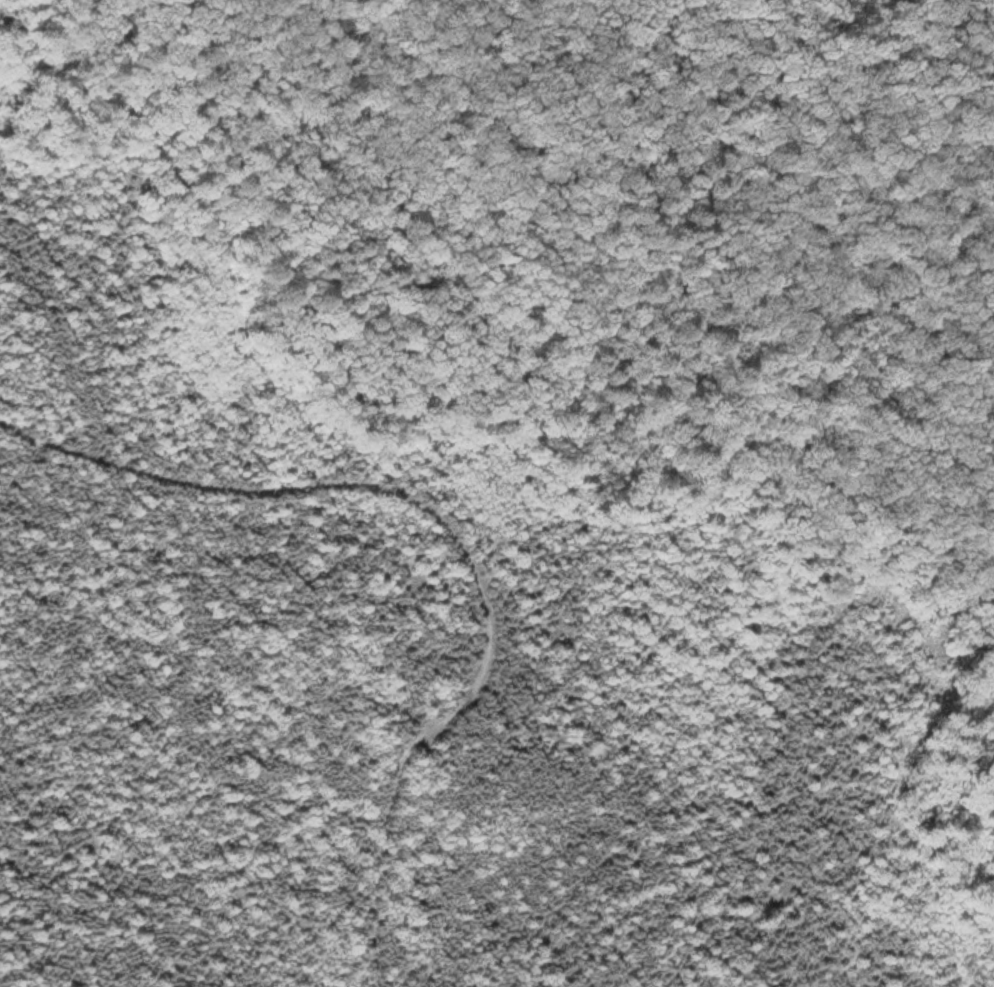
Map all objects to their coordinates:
road: (457, 540)

